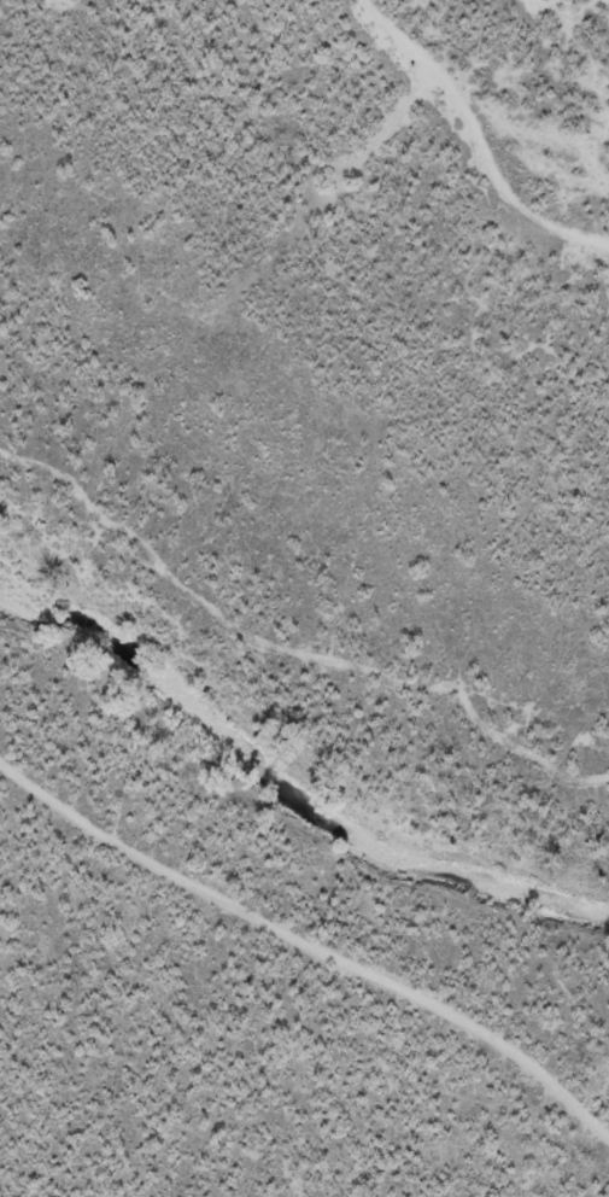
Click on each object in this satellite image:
river: (280, 808)
road: (300, 967)

